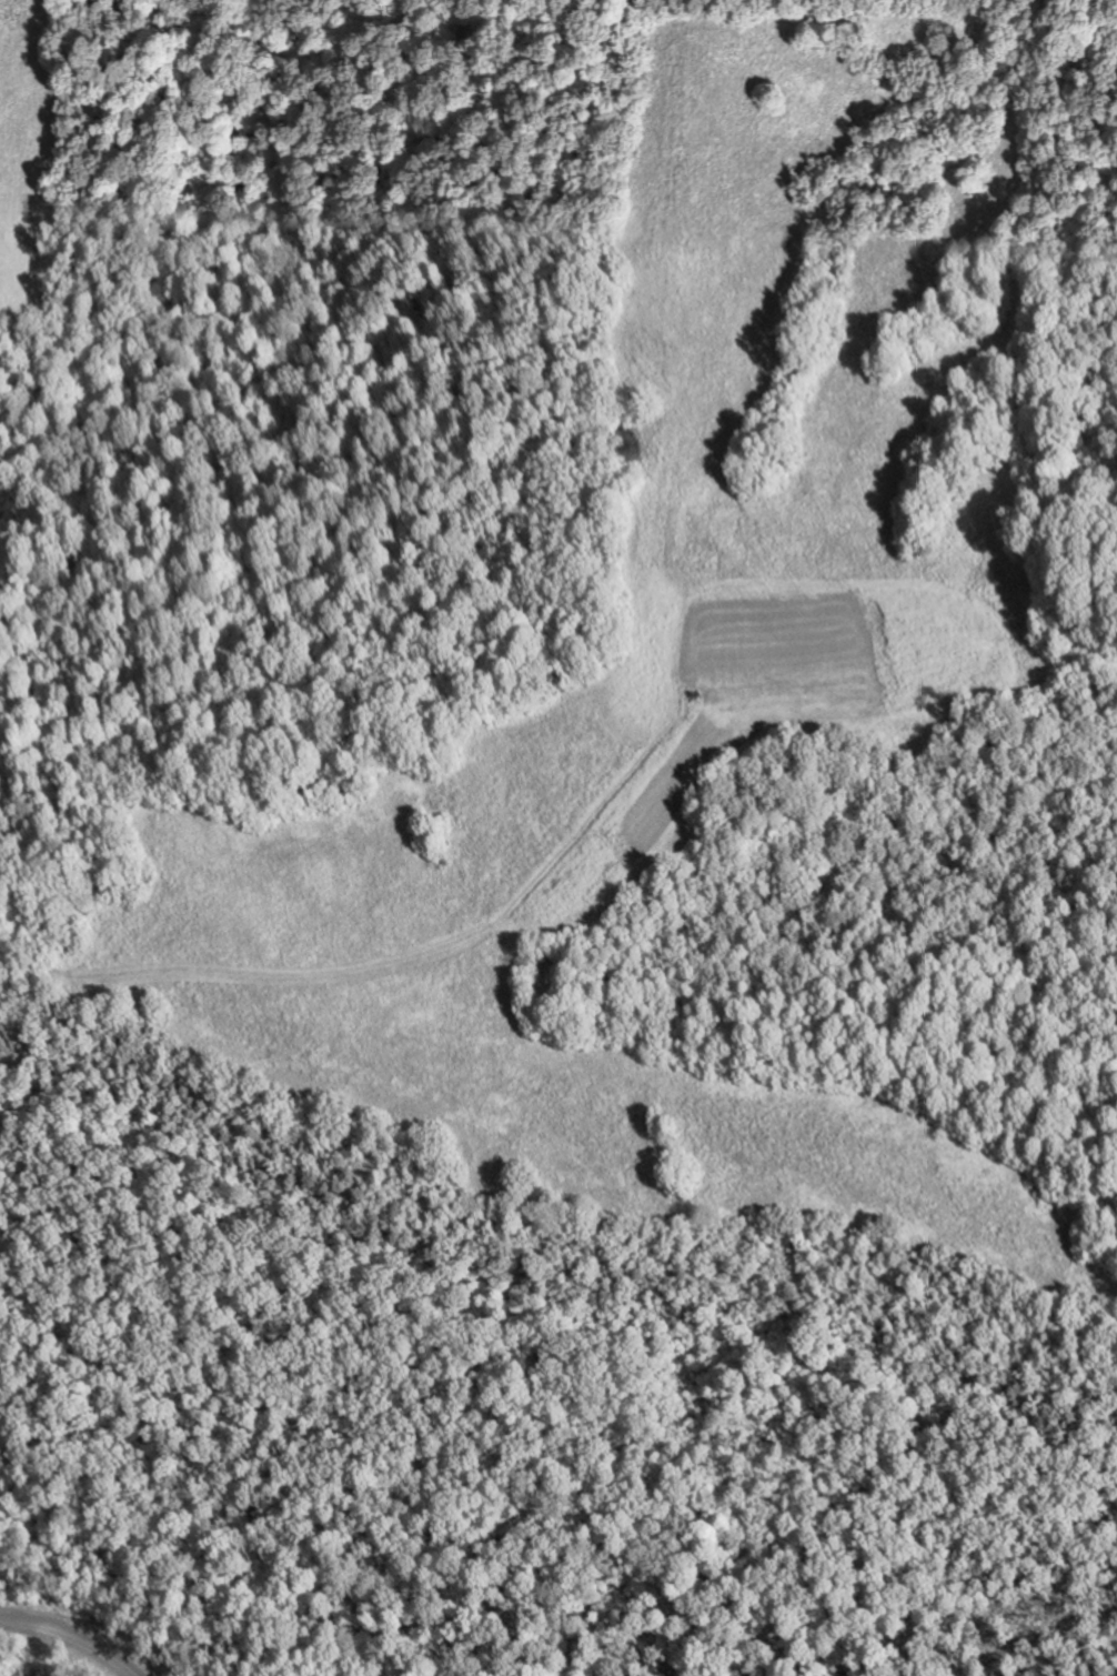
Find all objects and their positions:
road: (69, 1636)

